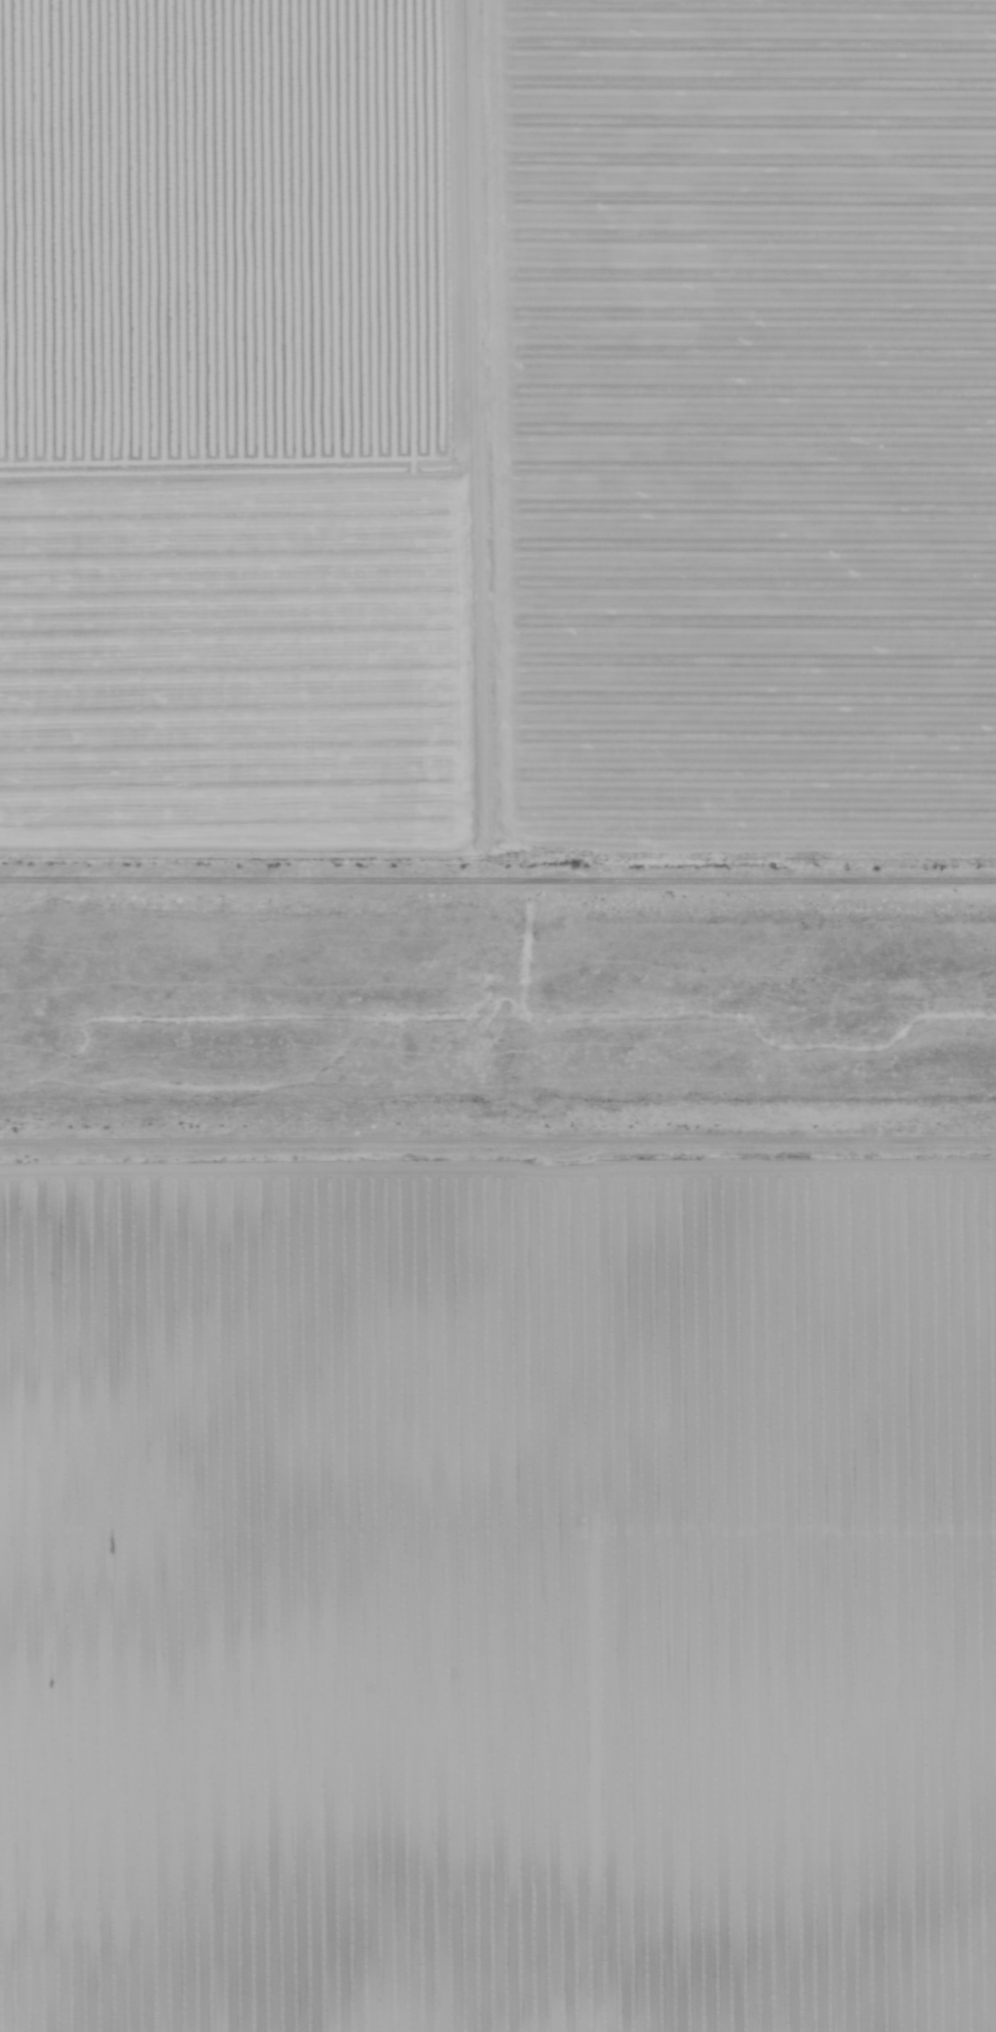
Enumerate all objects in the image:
crop: (497, 437)
road: (498, 1144)
crop: (497, 1591)

